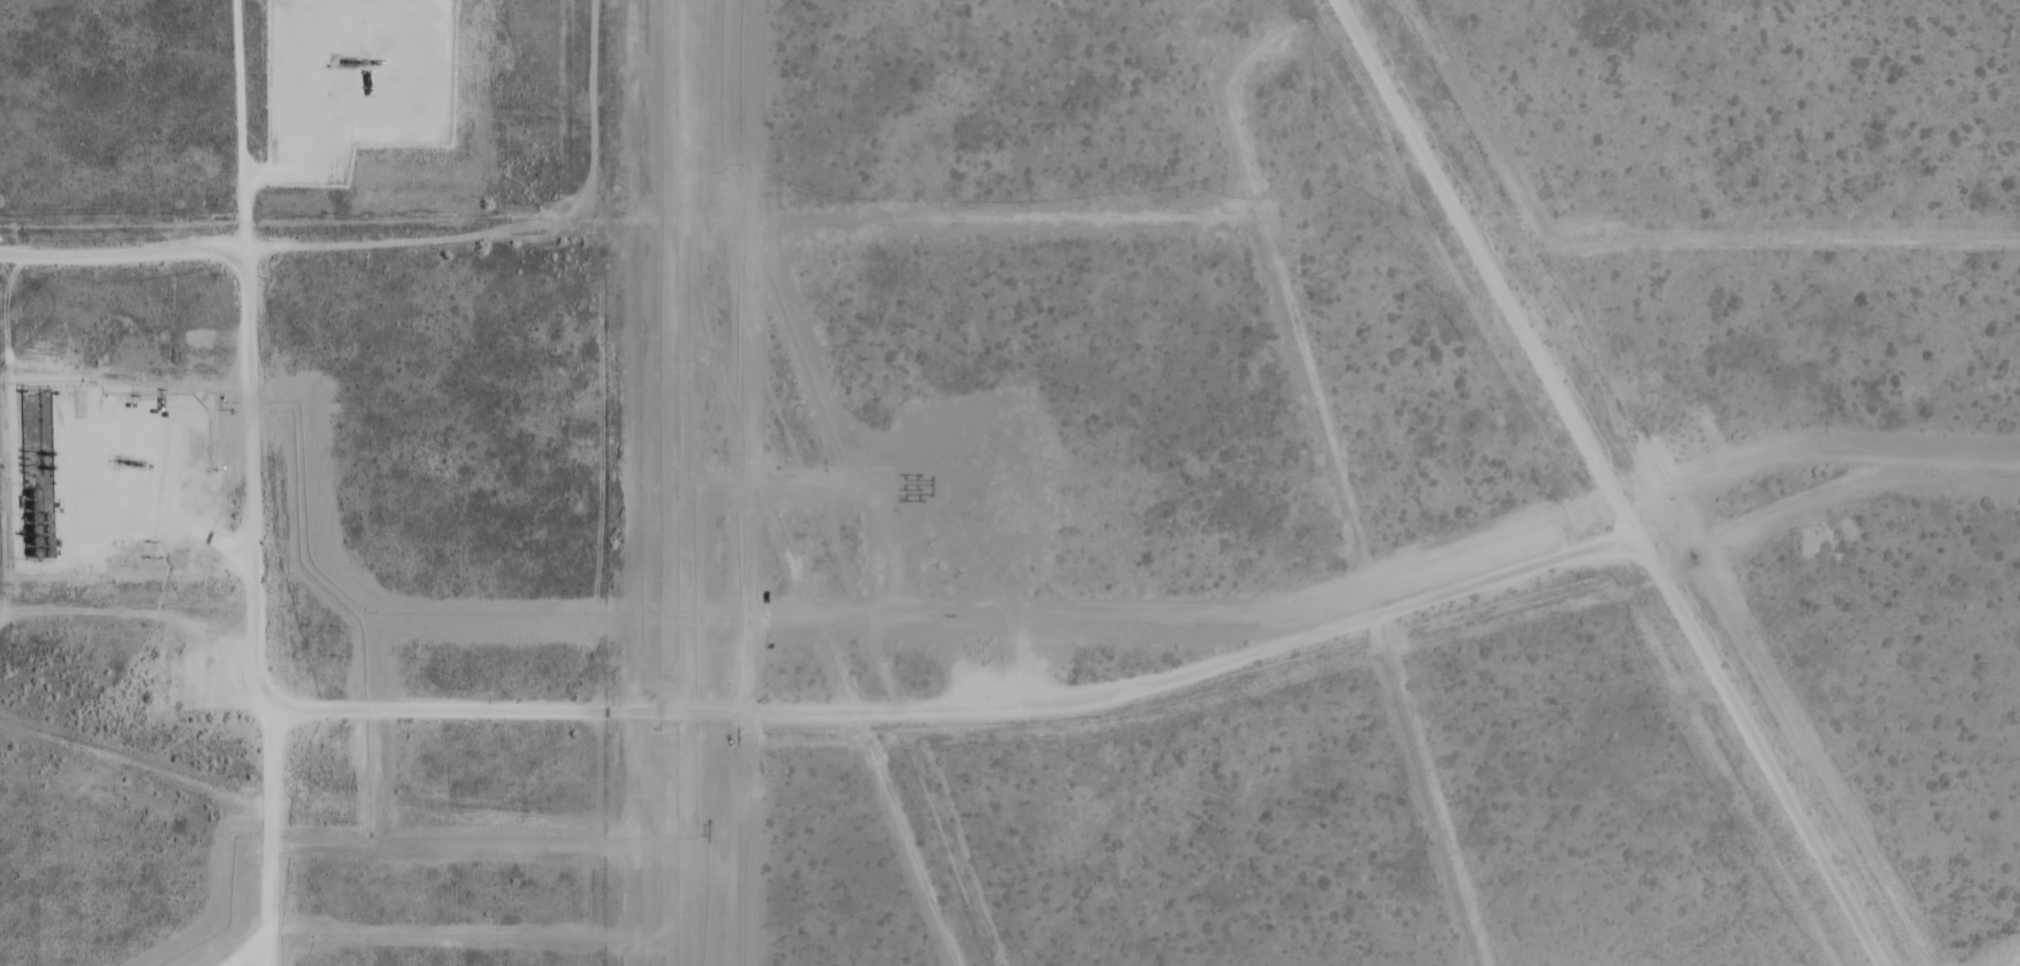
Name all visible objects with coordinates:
petroleum well: (350, 57)
road: (356, 140)
road: (416, 257)
petroleum well: (128, 456)
road: (248, 482)
road: (1611, 483)
road: (165, 514)
road: (1333, 627)
road: (657, 707)
road: (240, 948)

